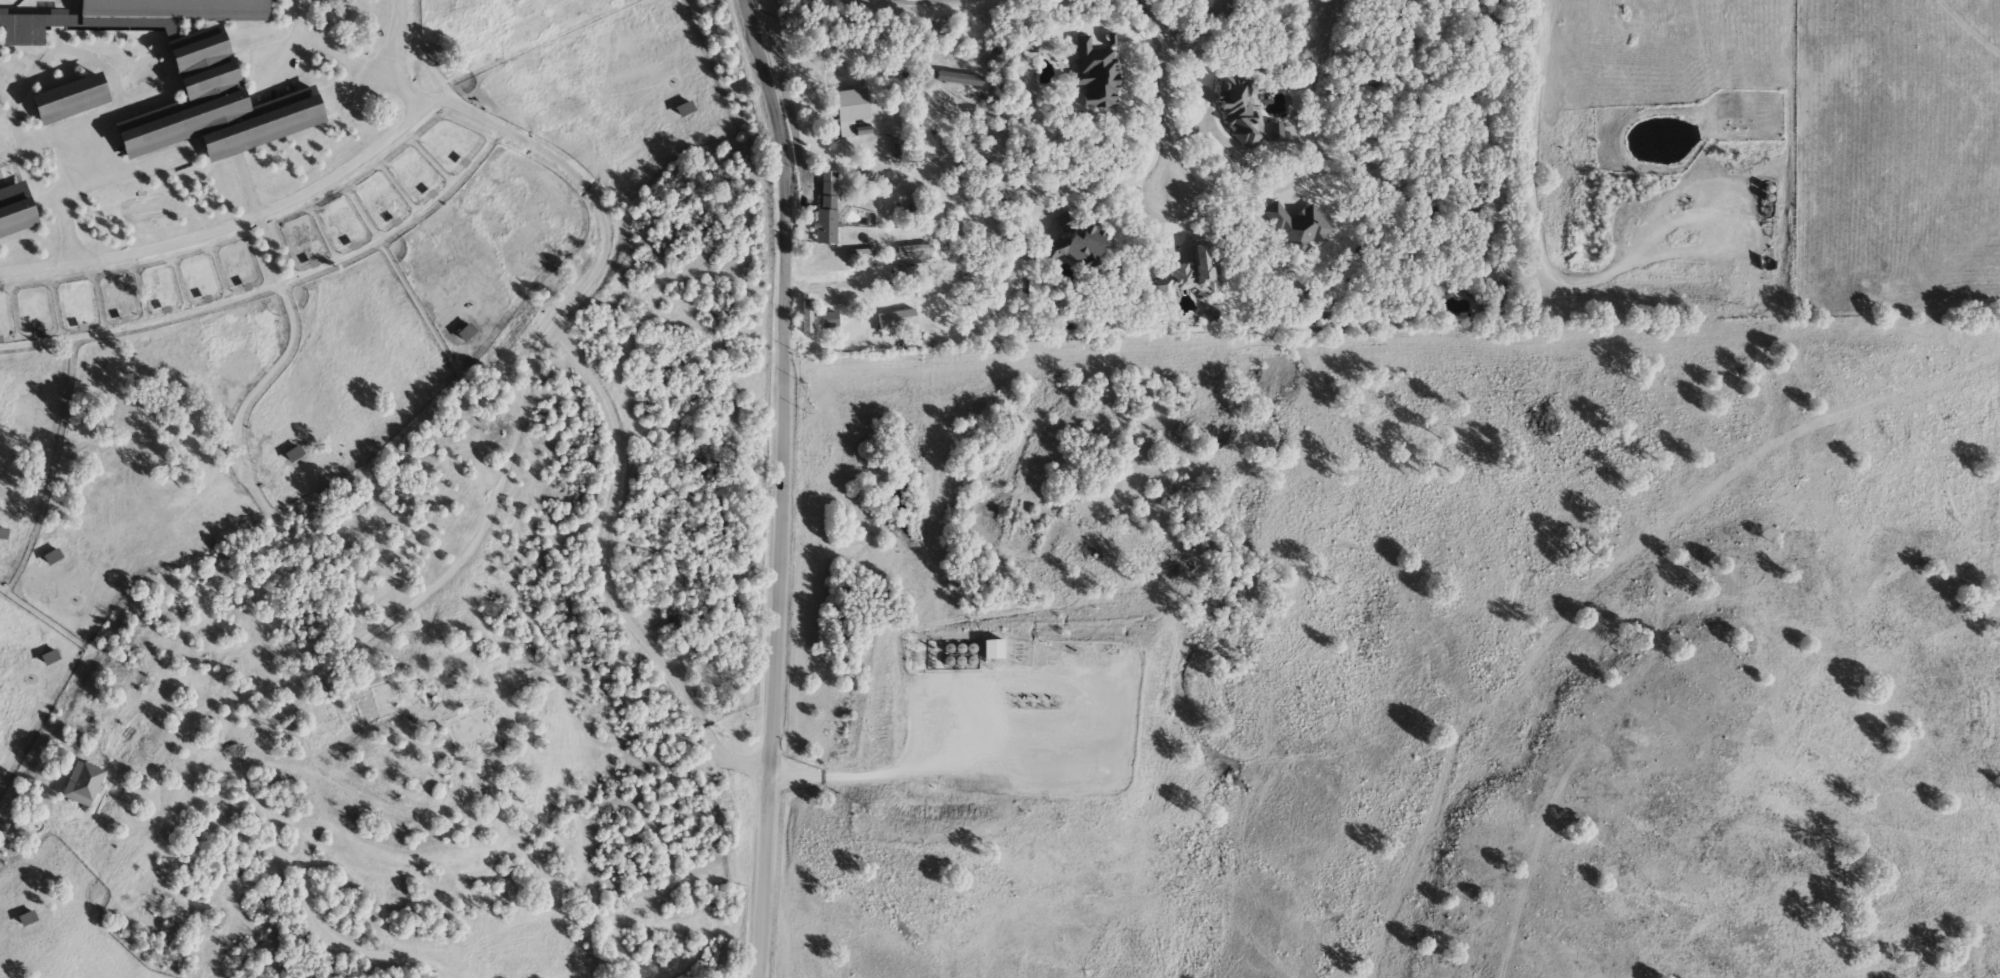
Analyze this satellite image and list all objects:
building: (1406, 0)
road: (1971, 26)
road: (1196, 35)
road: (333, 49)
road: (1160, 95)
building: (68, 100)
road: (1383, 106)
building: (684, 109)
building: (1234, 112)
building: (851, 113)
road: (1539, 135)
road: (80, 148)
road: (1121, 184)
building: (825, 208)
road: (271, 210)
building: (15, 212)
building: (1074, 244)
road: (39, 264)
building: (1185, 274)
road: (845, 288)
building: (1490, 300)
building: (898, 318)
building: (465, 333)
road: (833, 341)
road: (573, 356)
building: (293, 454)
road: (781, 486)
building: (3, 533)
road: (1600, 584)
road: (403, 608)
building: (48, 657)
building: (384, 701)
building: (466, 727)
road: (870, 769)
road: (334, 776)
building: (82, 784)
building: (26, 919)

